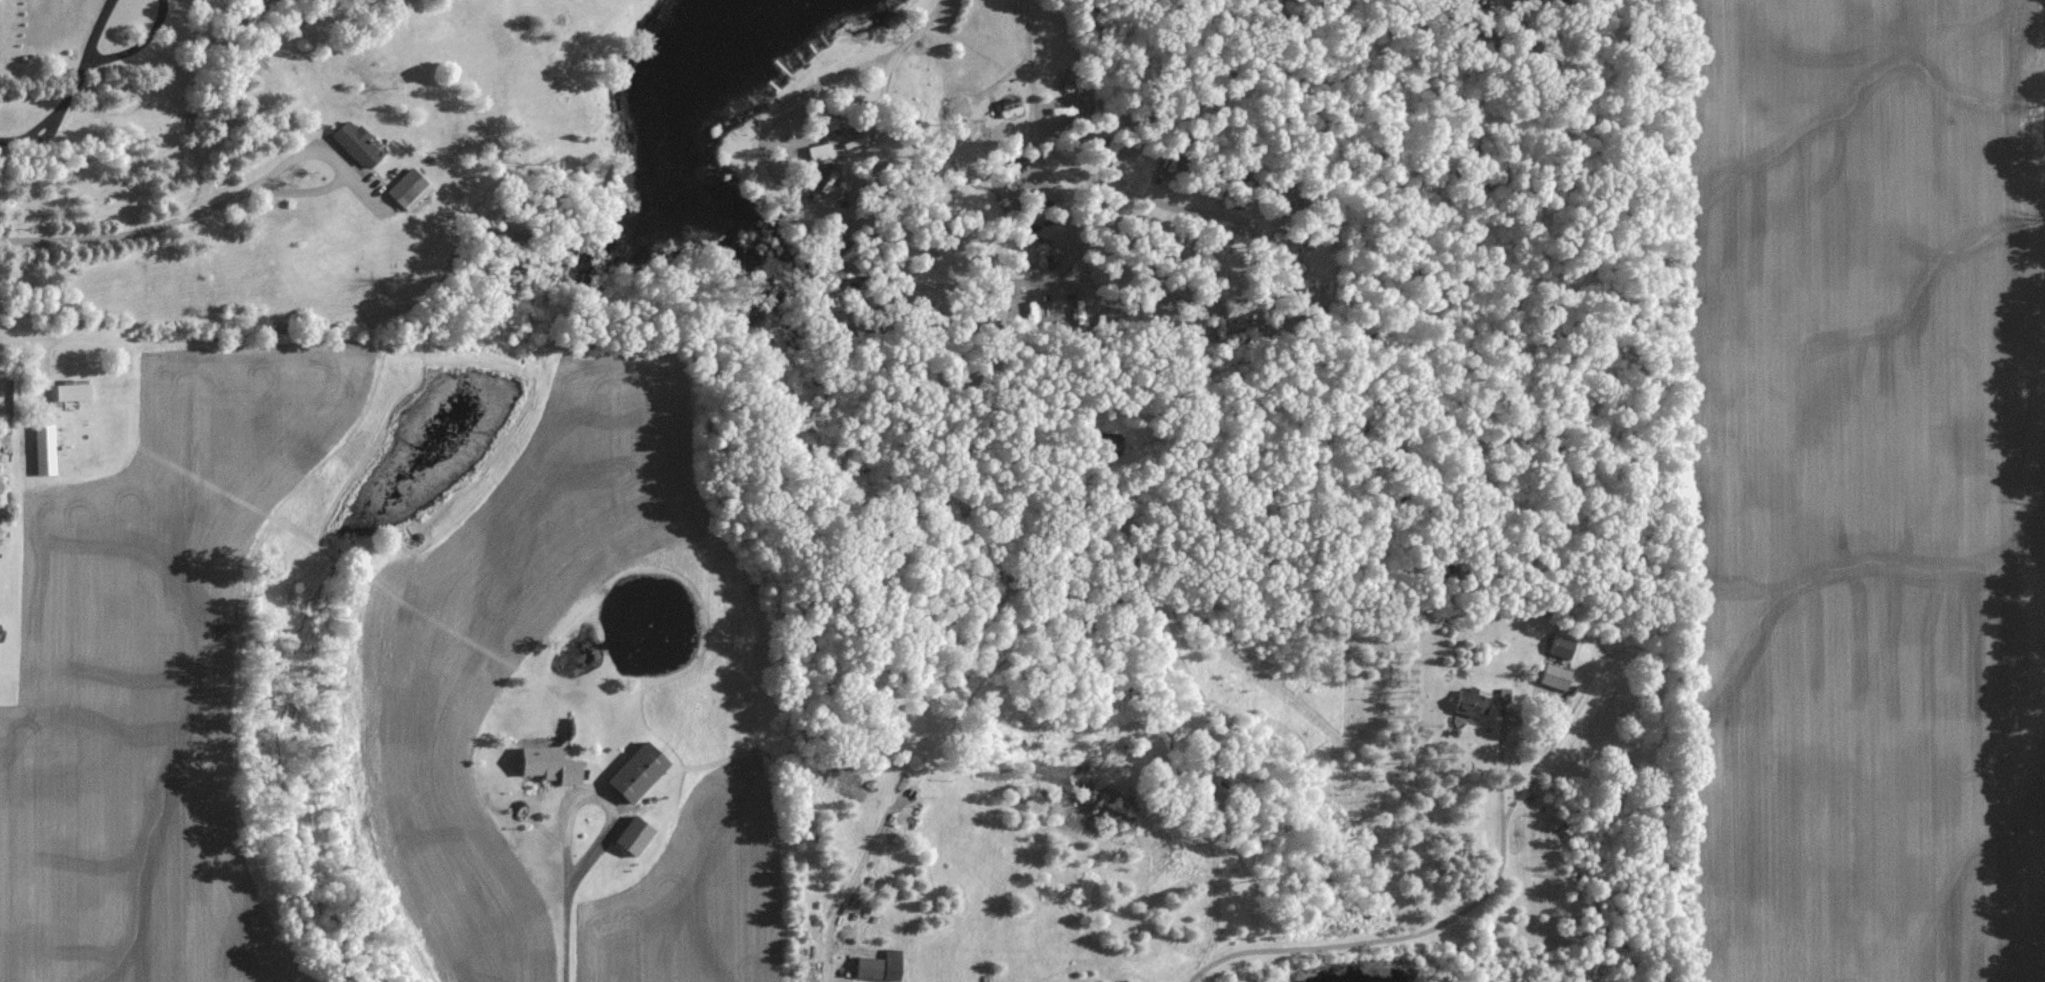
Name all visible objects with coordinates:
road: (73, 88)
building: (357, 146)
building: (411, 187)
road: (155, 223)
road: (18, 344)
building: (73, 392)
building: (45, 450)
building: (0, 622)
building: (1563, 647)
building: (1556, 676)
building: (1505, 694)
building: (1474, 706)
building: (550, 763)
building: (638, 770)
building: (846, 787)
building: (913, 816)
building: (634, 834)
road: (564, 906)
road: (1436, 925)
building: (881, 966)
road: (833, 970)

